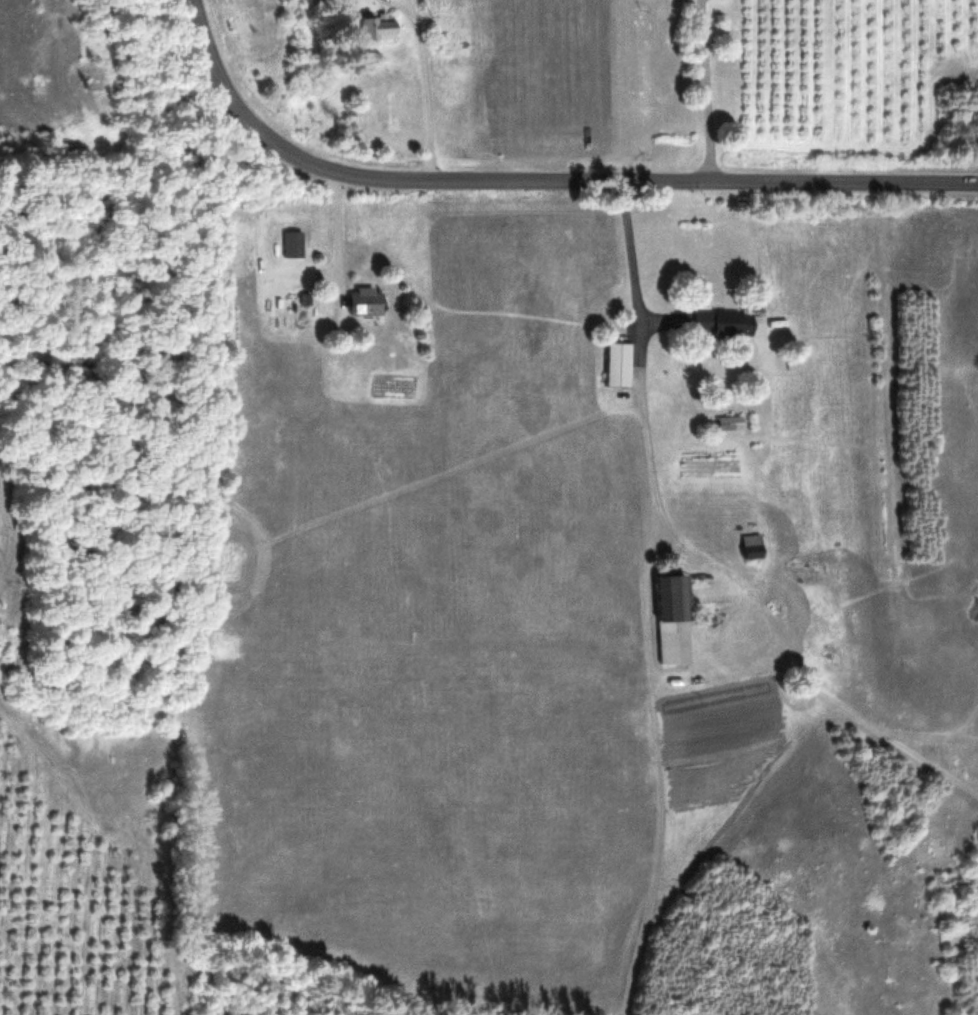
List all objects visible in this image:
building: (387, 29)
road: (424, 83)
road: (538, 178)
building: (368, 301)
building: (734, 322)
building: (620, 363)
road: (646, 399)
building: (731, 422)
building: (754, 546)
building: (675, 618)

